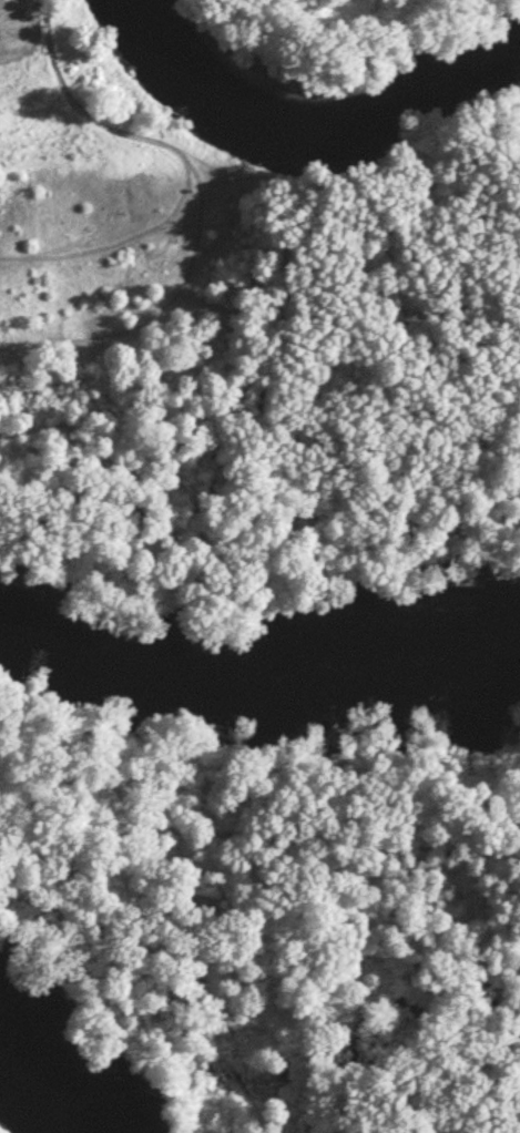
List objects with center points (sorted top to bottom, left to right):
river: (310, 127)
river: (258, 672)
river: (48, 1085)

